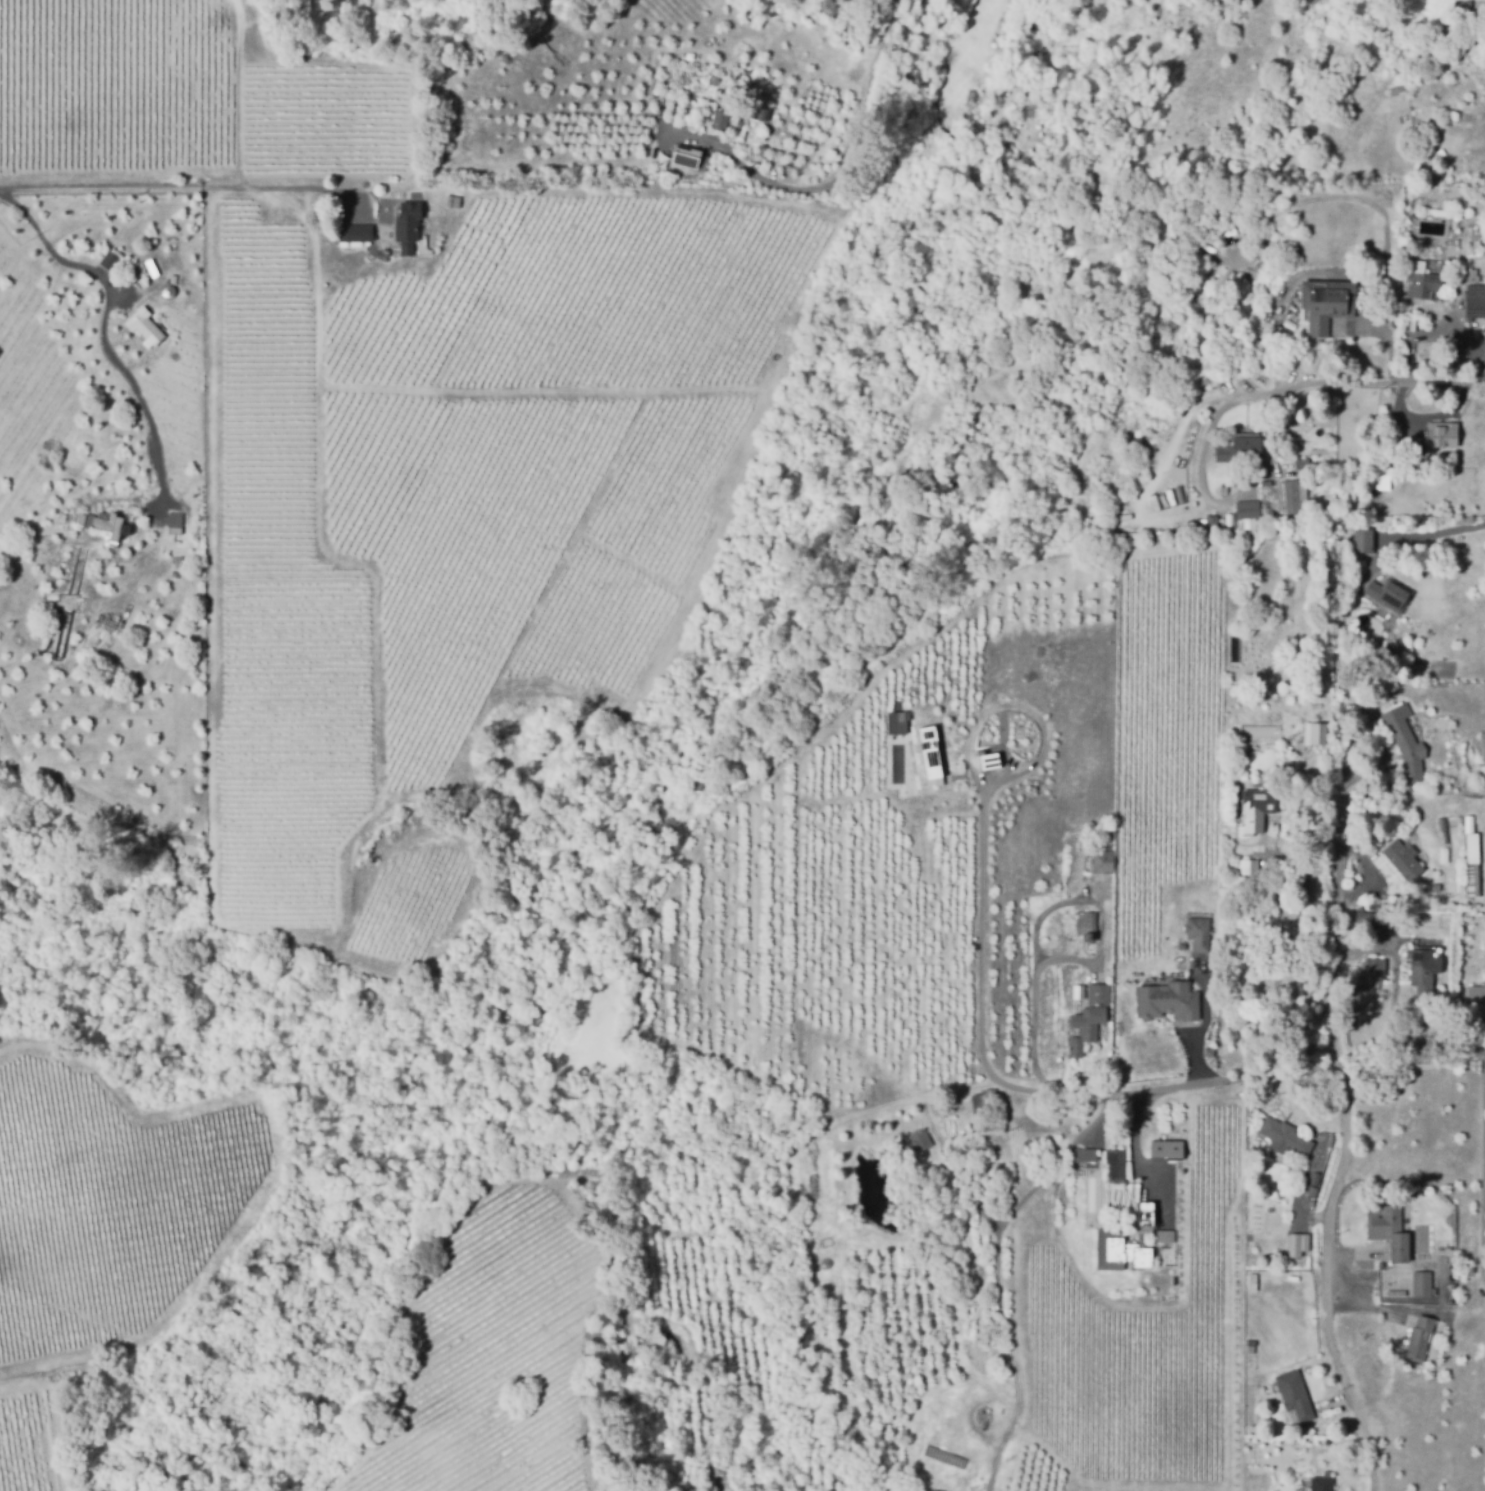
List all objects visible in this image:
building: (965, 6)
building: (1442, 40)
building: (1423, 64)
road: (882, 66)
building: (1395, 89)
building: (751, 105)
building: (722, 119)
building: (697, 159)
building: (668, 165)
road: (762, 179)
road: (162, 189)
building: (453, 201)
building: (409, 225)
building: (355, 236)
building: (1432, 288)
road: (1389, 294)
building: (1476, 300)
building: (1327, 303)
road: (102, 329)
building: (151, 333)
building: (1371, 372)
building: (1236, 386)
road: (1298, 390)
building: (1443, 434)
building: (1240, 450)
road: (1159, 462)
building: (1302, 462)
building: (1381, 478)
building: (1293, 498)
building: (1248, 508)
building: (175, 523)
building: (1207, 524)
building: (102, 525)
building: (1180, 529)
road: (1436, 537)
building: (1364, 540)
building: (1388, 596)
building: (1345, 611)
building: (1405, 684)
building: (1390, 687)
building: (897, 722)
building: (1318, 735)
building: (1406, 741)
building: (929, 752)
building: (986, 761)
building: (1476, 785)
building: (1262, 811)
building: (1356, 842)
building: (1471, 846)
building: (1400, 856)
building: (1099, 858)
building: (1251, 871)
building: (1472, 880)
road: (1048, 914)
building: (1364, 922)
building: (1087, 926)
building: (1199, 933)
building: (1375, 972)
road: (1395, 975)
road: (978, 976)
building: (1424, 979)
road: (1335, 983)
building: (1475, 995)
building: (1167, 1000)
building: (1087, 1019)
road: (1392, 1028)
road: (1206, 1032)
building: (1210, 1053)
road: (1293, 1072)
building: (984, 1101)
building: (1286, 1137)
building: (920, 1140)
building: (1166, 1147)
building: (1089, 1162)
building: (1117, 1163)
building: (1313, 1191)
building: (1118, 1197)
building: (1144, 1217)
building: (1390, 1231)
building: (1164, 1237)
building: (1296, 1244)
building: (1118, 1253)
road: (1325, 1282)
building: (1423, 1284)
building: (1420, 1337)
building: (1296, 1397)
building: (1296, 1470)
building: (1322, 1484)

